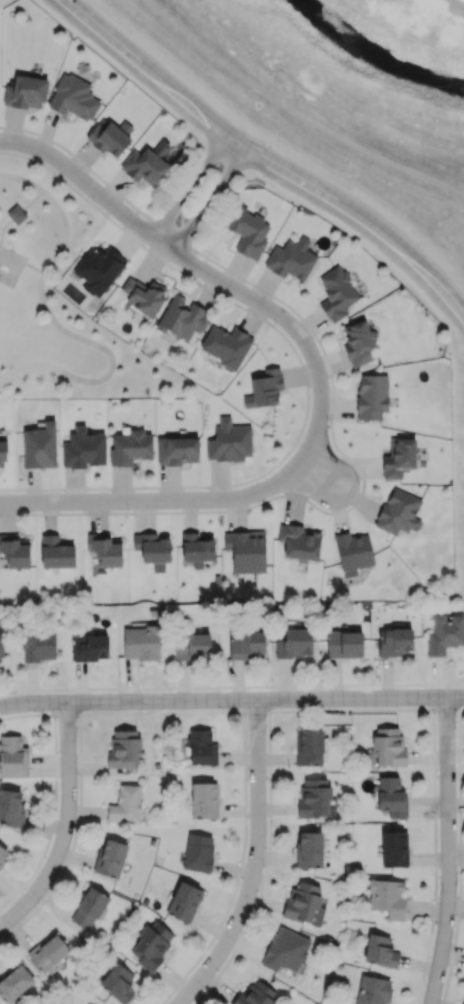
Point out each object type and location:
river: (372, 57)
road: (229, 65)
building: (26, 92)
building: (73, 97)
road: (310, 120)
building: (109, 136)
road: (280, 145)
road: (263, 161)
building: (144, 165)
road: (189, 187)
road: (209, 202)
road: (17, 215)
building: (248, 232)
building: (290, 260)
park: (10, 267)
road: (35, 269)
building: (99, 269)
building: (336, 293)
building: (143, 295)
park: (61, 299)
building: (182, 318)
road: (59, 326)
building: (358, 342)
building: (226, 345)
road: (316, 373)
building: (264, 389)
building: (372, 396)
building: (229, 441)
building: (40, 446)
building: (130, 447)
building: (83, 448)
building: (177, 450)
building: (2, 453)
building: (399, 457)
road: (316, 474)
building: (398, 512)
building: (299, 541)
building: (197, 548)
building: (104, 549)
building: (152, 549)
building: (14, 551)
building: (246, 551)
building: (56, 553)
building: (353, 553)
building: (445, 633)
building: (394, 641)
building: (141, 642)
building: (245, 643)
building: (295, 643)
building: (344, 644)
building: (38, 645)
building: (192, 646)
building: (89, 647)
building: (1, 648)
road: (231, 698)
building: (201, 747)
building: (309, 747)
building: (388, 747)
building: (123, 749)
building: (13, 757)
building: (391, 795)
building: (314, 797)
building: (204, 800)
building: (125, 804)
building: (11, 808)
road: (64, 828)
building: (394, 848)
building: (309, 849)
road: (447, 850)
building: (198, 852)
building: (3, 855)
building: (110, 858)
road: (259, 861)
building: (387, 897)
building: (184, 901)
building: (304, 904)
building: (88, 908)
building: (151, 944)
building: (285, 950)
building: (380, 951)
building: (48, 952)
building: (14, 982)
building: (118, 983)
building: (373, 990)
building: (256, 993)

